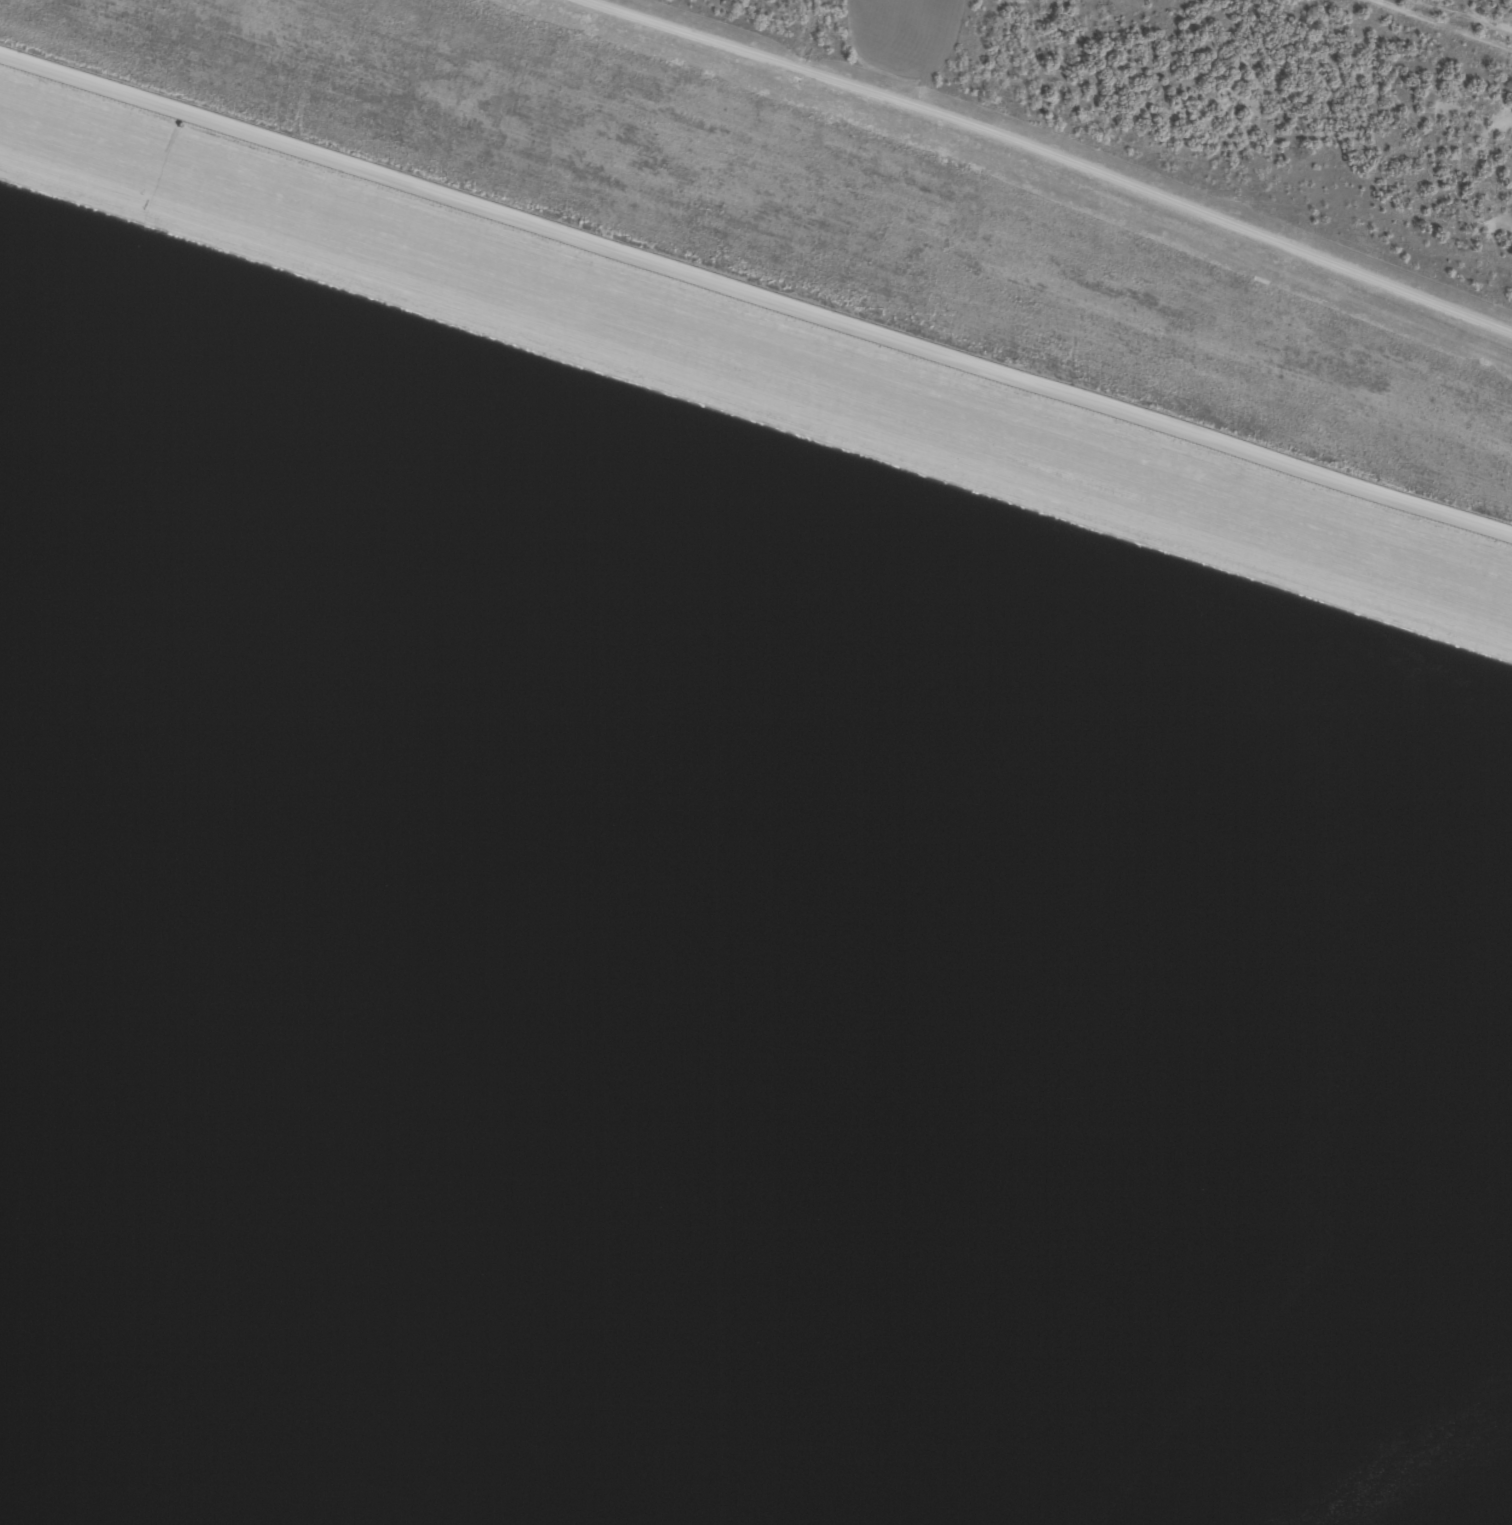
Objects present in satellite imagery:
road: (1054, 142)
road: (755, 298)

